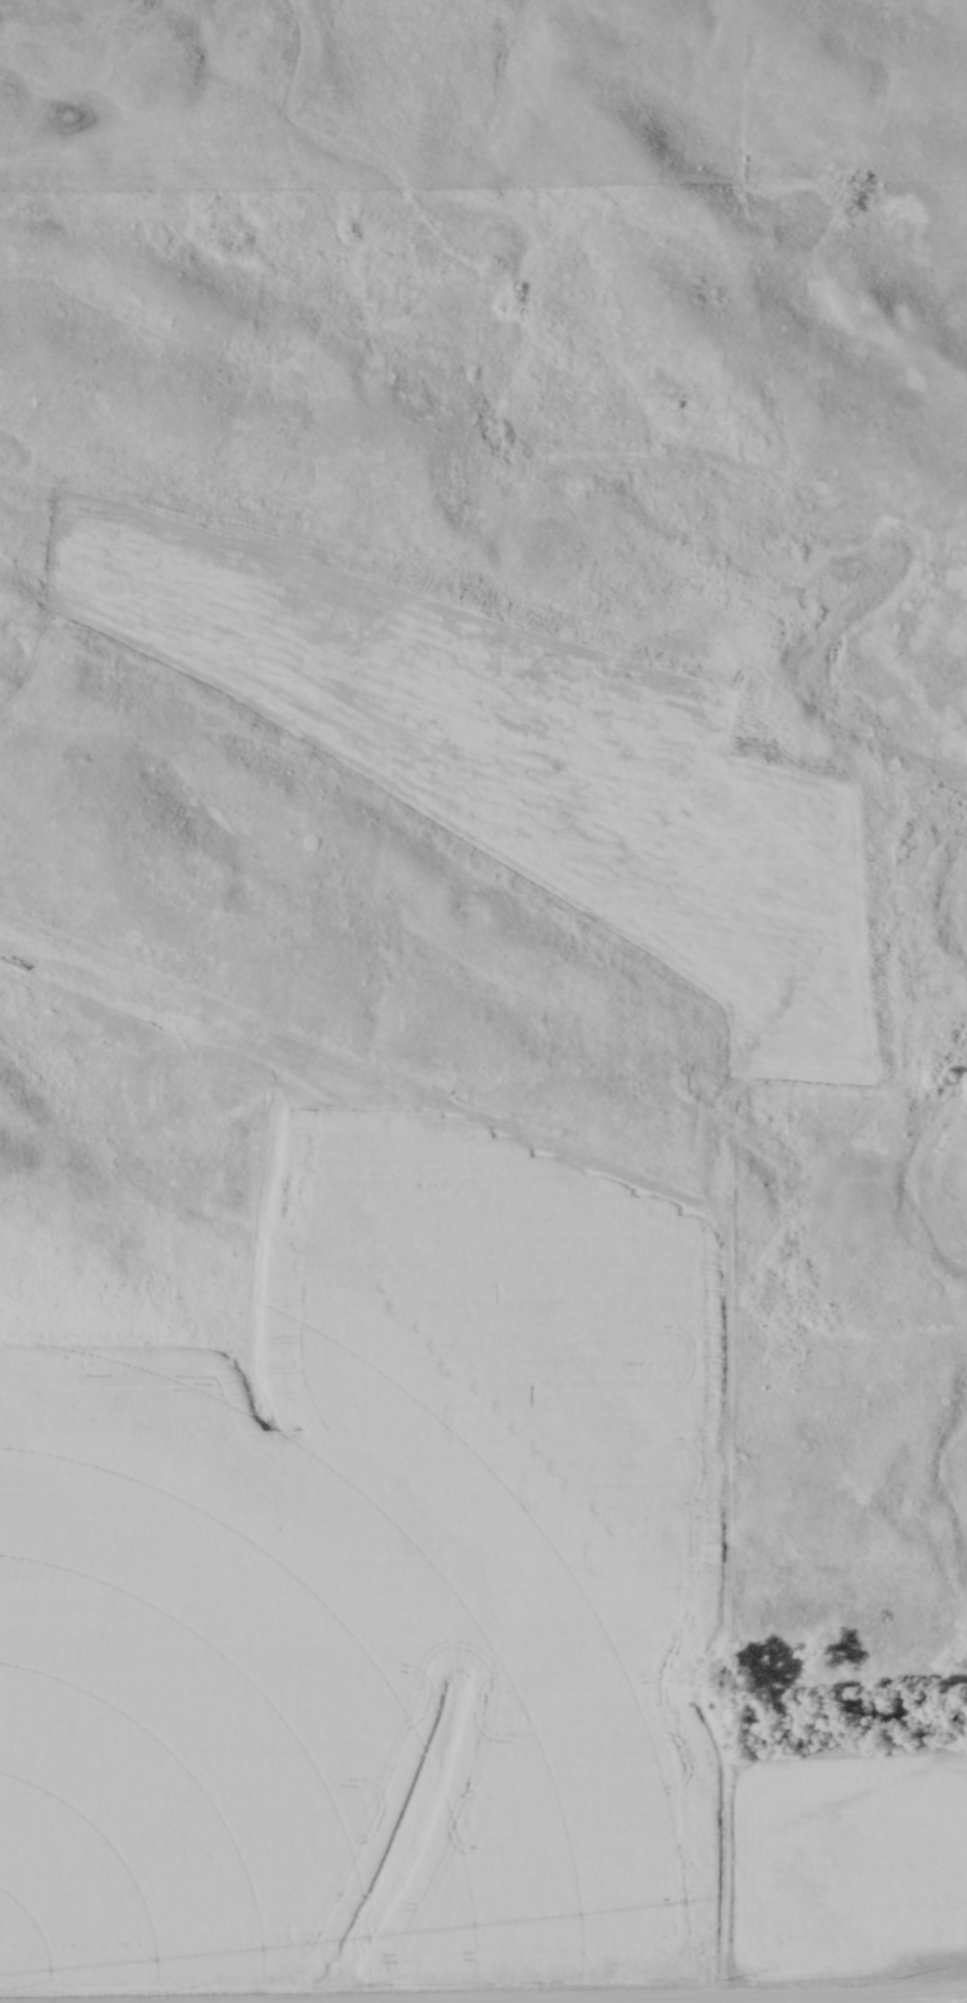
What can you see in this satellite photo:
road: (940, 1997)
road: (821, 1998)

